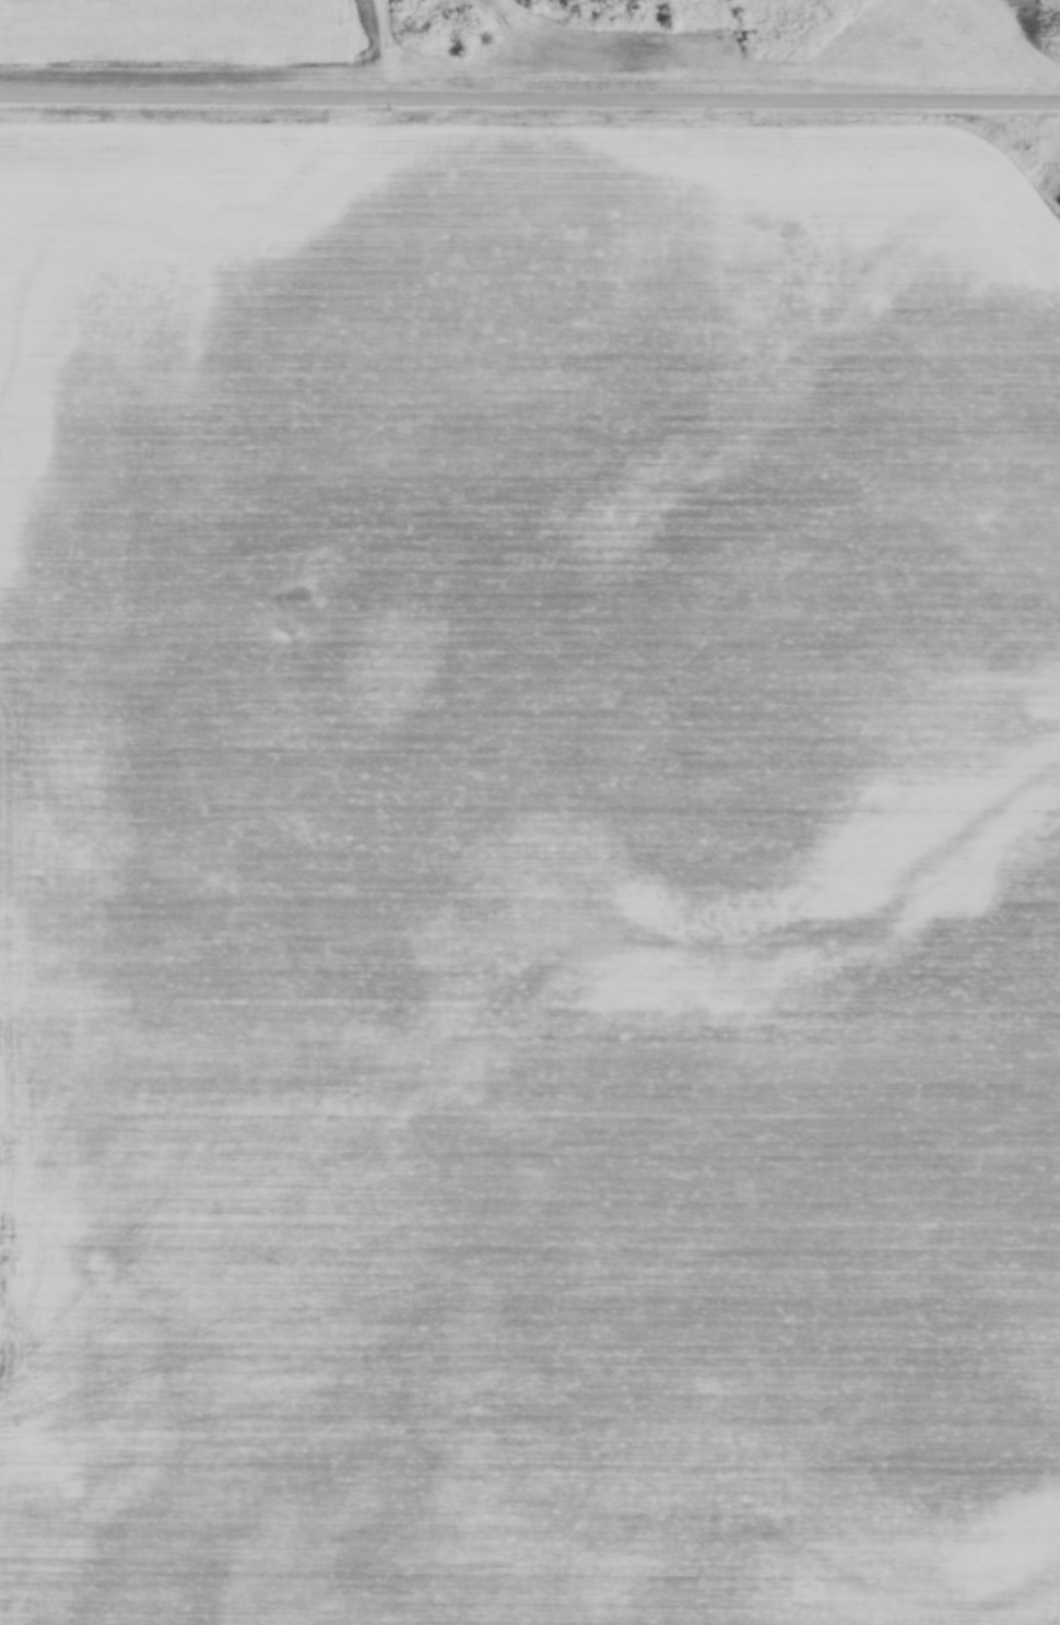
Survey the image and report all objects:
road: (530, 95)

